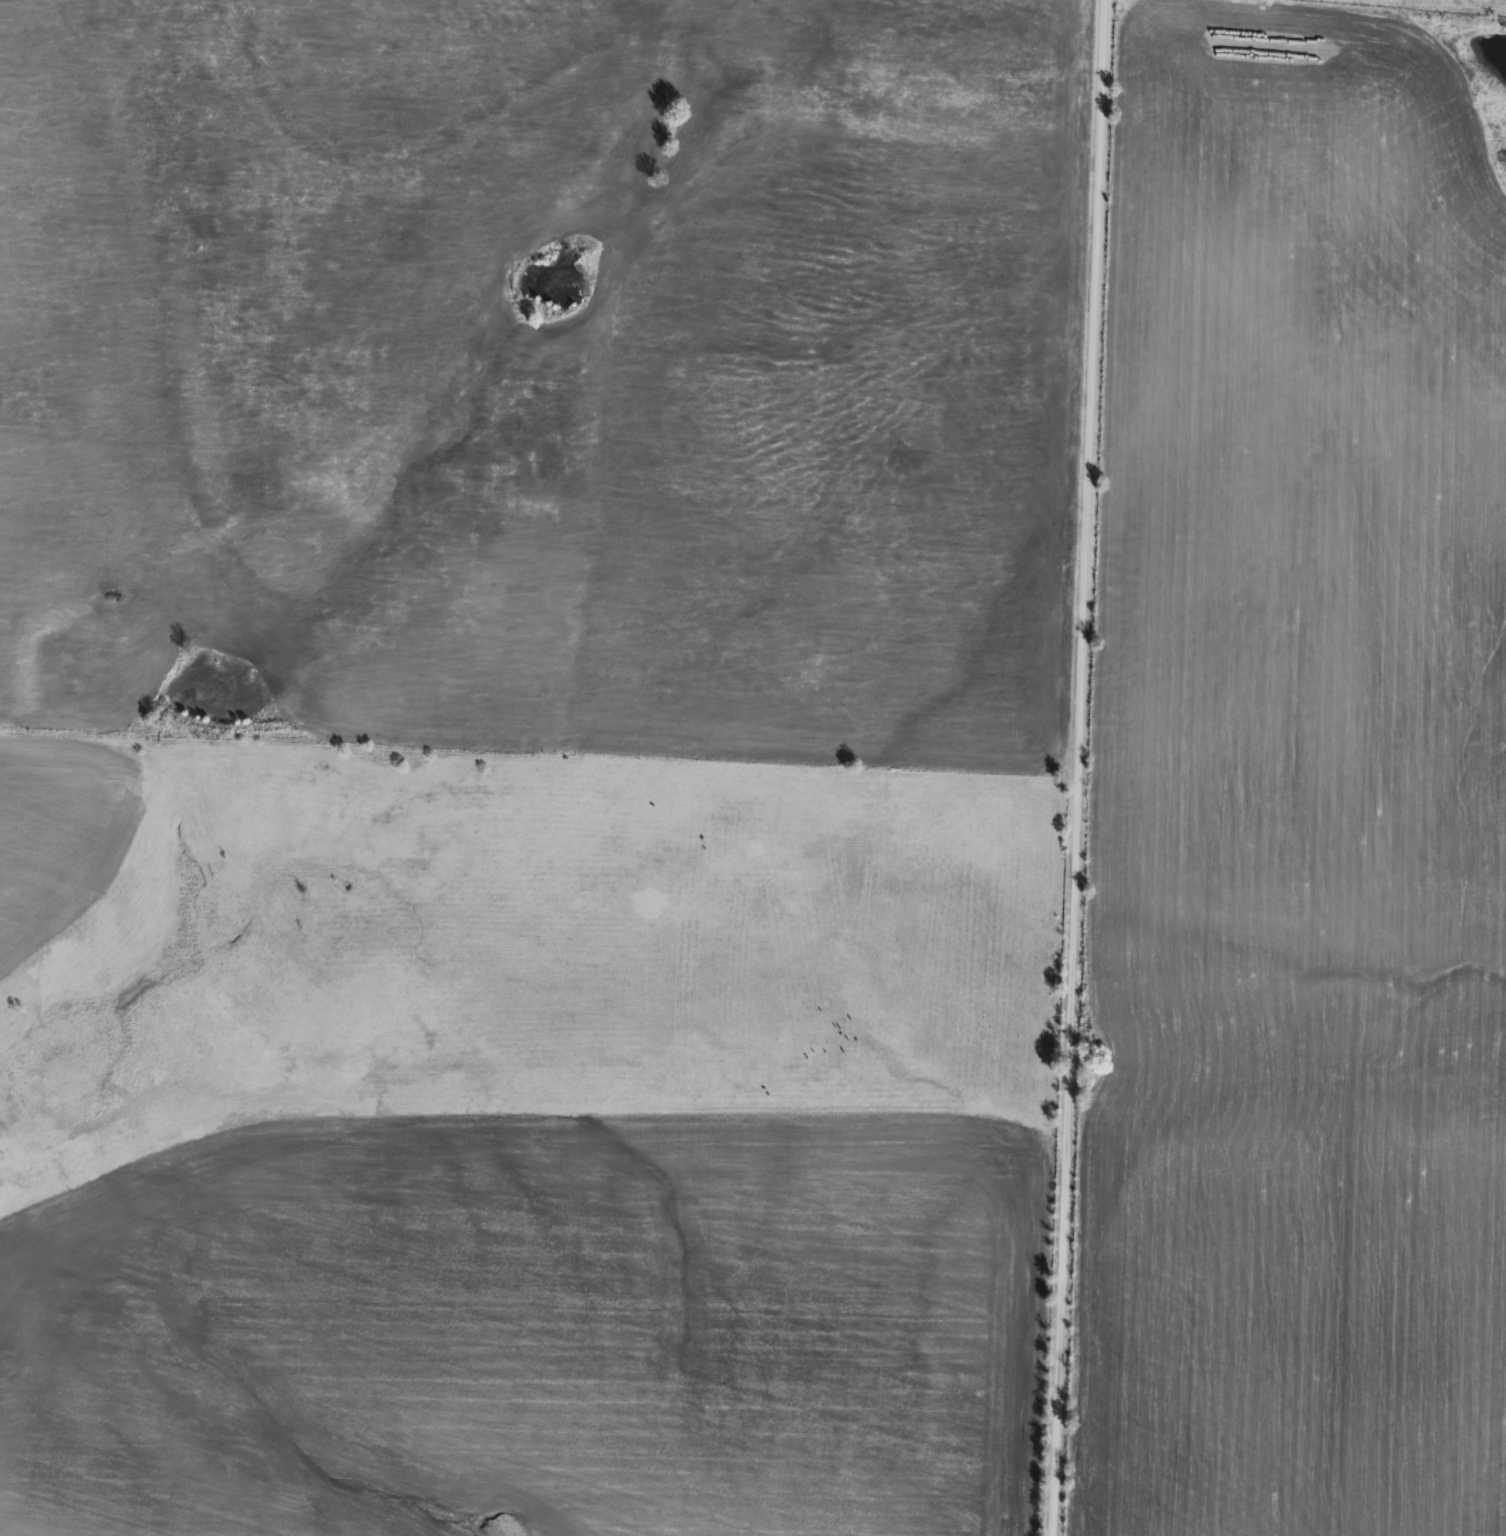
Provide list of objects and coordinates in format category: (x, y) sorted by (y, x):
road: (1077, 768)

